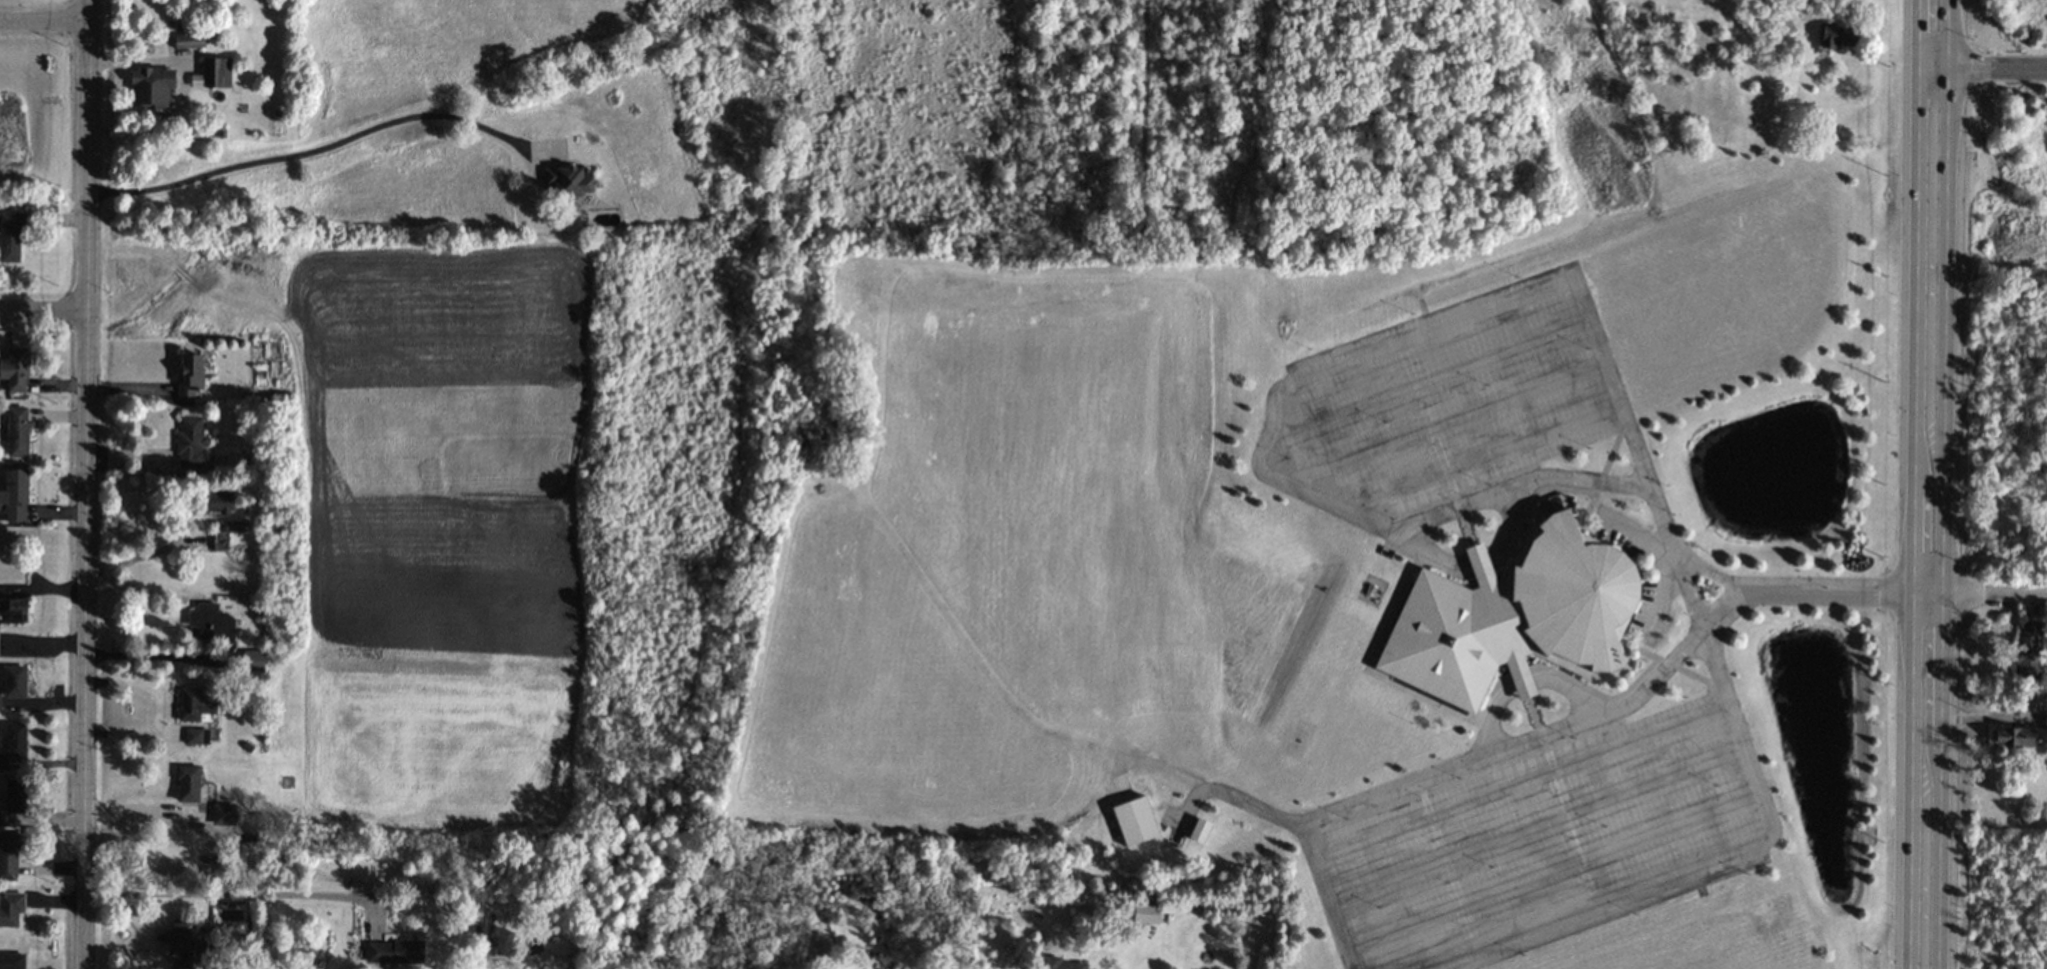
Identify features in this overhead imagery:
road: (44, 23)
road: (1933, 35)
building: (1837, 36)
building: (188, 40)
road: (1990, 70)
building: (213, 73)
building: (150, 87)
road: (316, 147)
building: (568, 180)
building: (11, 237)
park: (1988, 299)
road: (43, 311)
road: (1930, 332)
road: (1364, 359)
building: (15, 369)
building: (190, 375)
parking lot: (1457, 396)
building: (17, 432)
building: (190, 443)
road: (85, 484)
building: (14, 495)
building: (215, 501)
building: (225, 533)
road: (136, 557)
road: (1986, 594)
building: (13, 611)
building: (1513, 618)
building: (211, 623)
building: (2028, 651)
road: (146, 655)
building: (253, 660)
building: (14, 681)
road: (1523, 687)
building: (193, 705)
building: (2045, 723)
building: (196, 736)
building: (2012, 737)
road: (1547, 738)
building: (15, 739)
road: (1924, 781)
building: (187, 783)
road: (1522, 785)
building: (14, 797)
building: (223, 814)
building: (1134, 821)
road: (1537, 828)
building: (1199, 830)
parking lot: (1539, 836)
building: (9, 854)
road: (1693, 866)
road: (1551, 869)
road: (234, 891)
road: (1326, 896)
building: (10, 908)
building: (1145, 913)
building: (185, 948)
building: (394, 952)
building: (1059, 963)

